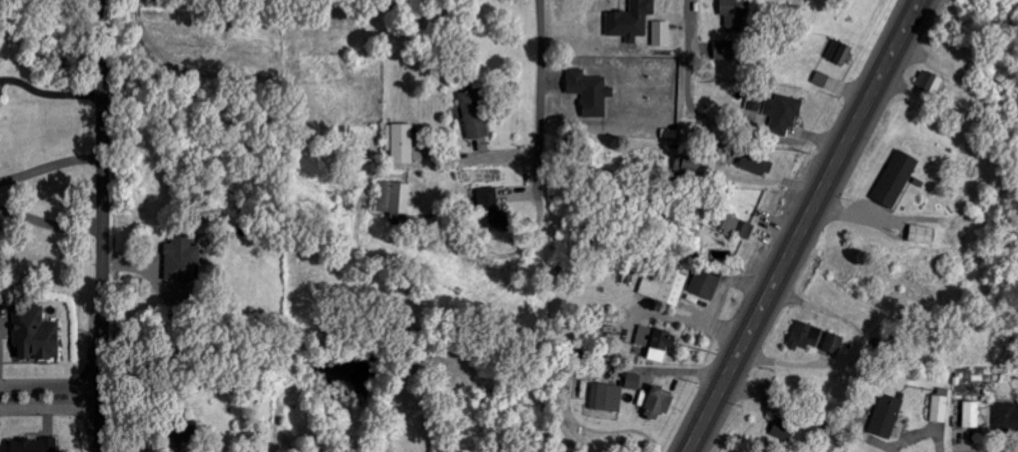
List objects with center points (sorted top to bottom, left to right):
building: (794, 13)
building: (734, 15)
building: (630, 20)
building: (722, 50)
building: (840, 53)
building: (928, 83)
building: (589, 92)
road: (49, 93)
building: (755, 100)
building: (474, 112)
building: (782, 113)
road: (542, 119)
building: (400, 143)
building: (753, 163)
building: (687, 166)
road: (49, 167)
building: (895, 179)
building: (393, 198)
building: (489, 209)
road: (49, 223)
road: (101, 226)
road: (805, 226)
building: (738, 228)
building: (921, 234)
building: (180, 260)
building: (704, 284)
building: (664, 288)
building: (33, 334)
building: (804, 336)
building: (655, 342)
building: (633, 381)
road: (50, 395)
building: (607, 397)
building: (657, 402)
building: (939, 406)
building: (971, 415)
building: (886, 416)
building: (1006, 417)
building: (784, 426)
building: (32, 445)

